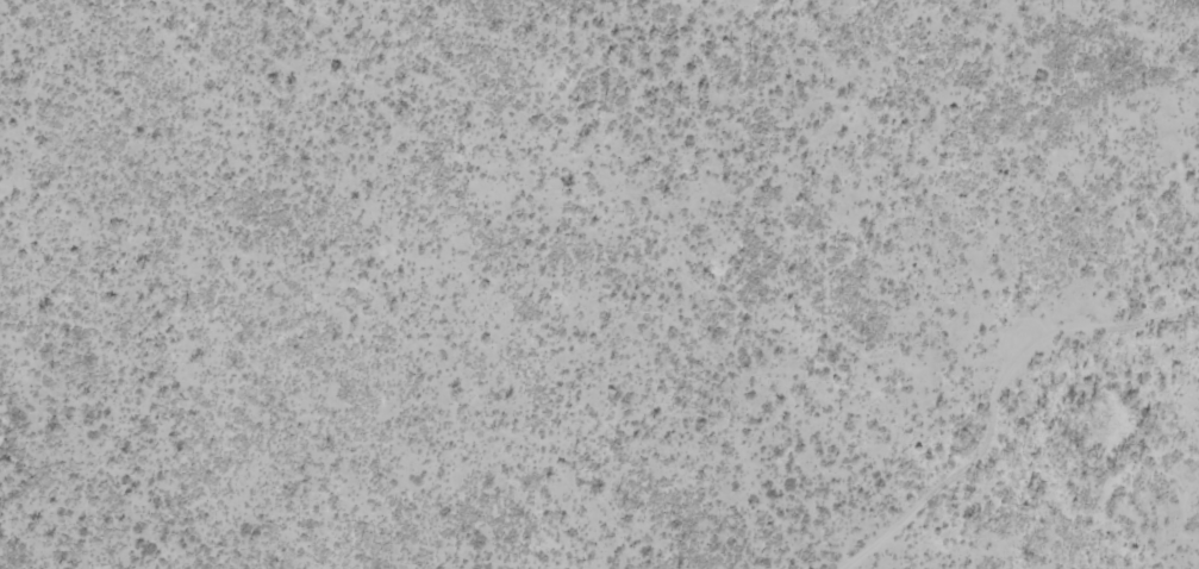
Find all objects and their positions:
road: (1014, 423)

